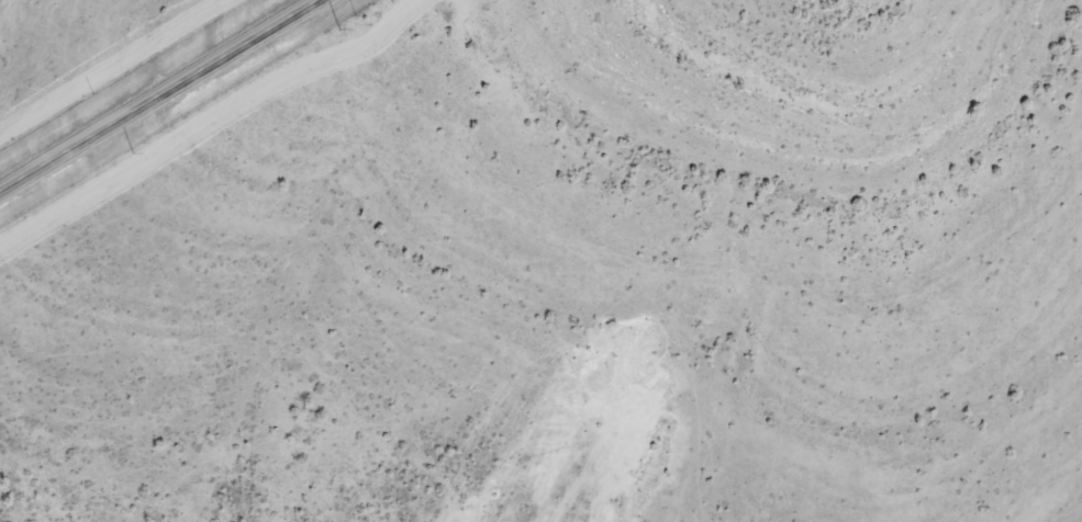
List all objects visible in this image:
power tower: (337, 32)
road: (158, 97)
power tower: (132, 157)

